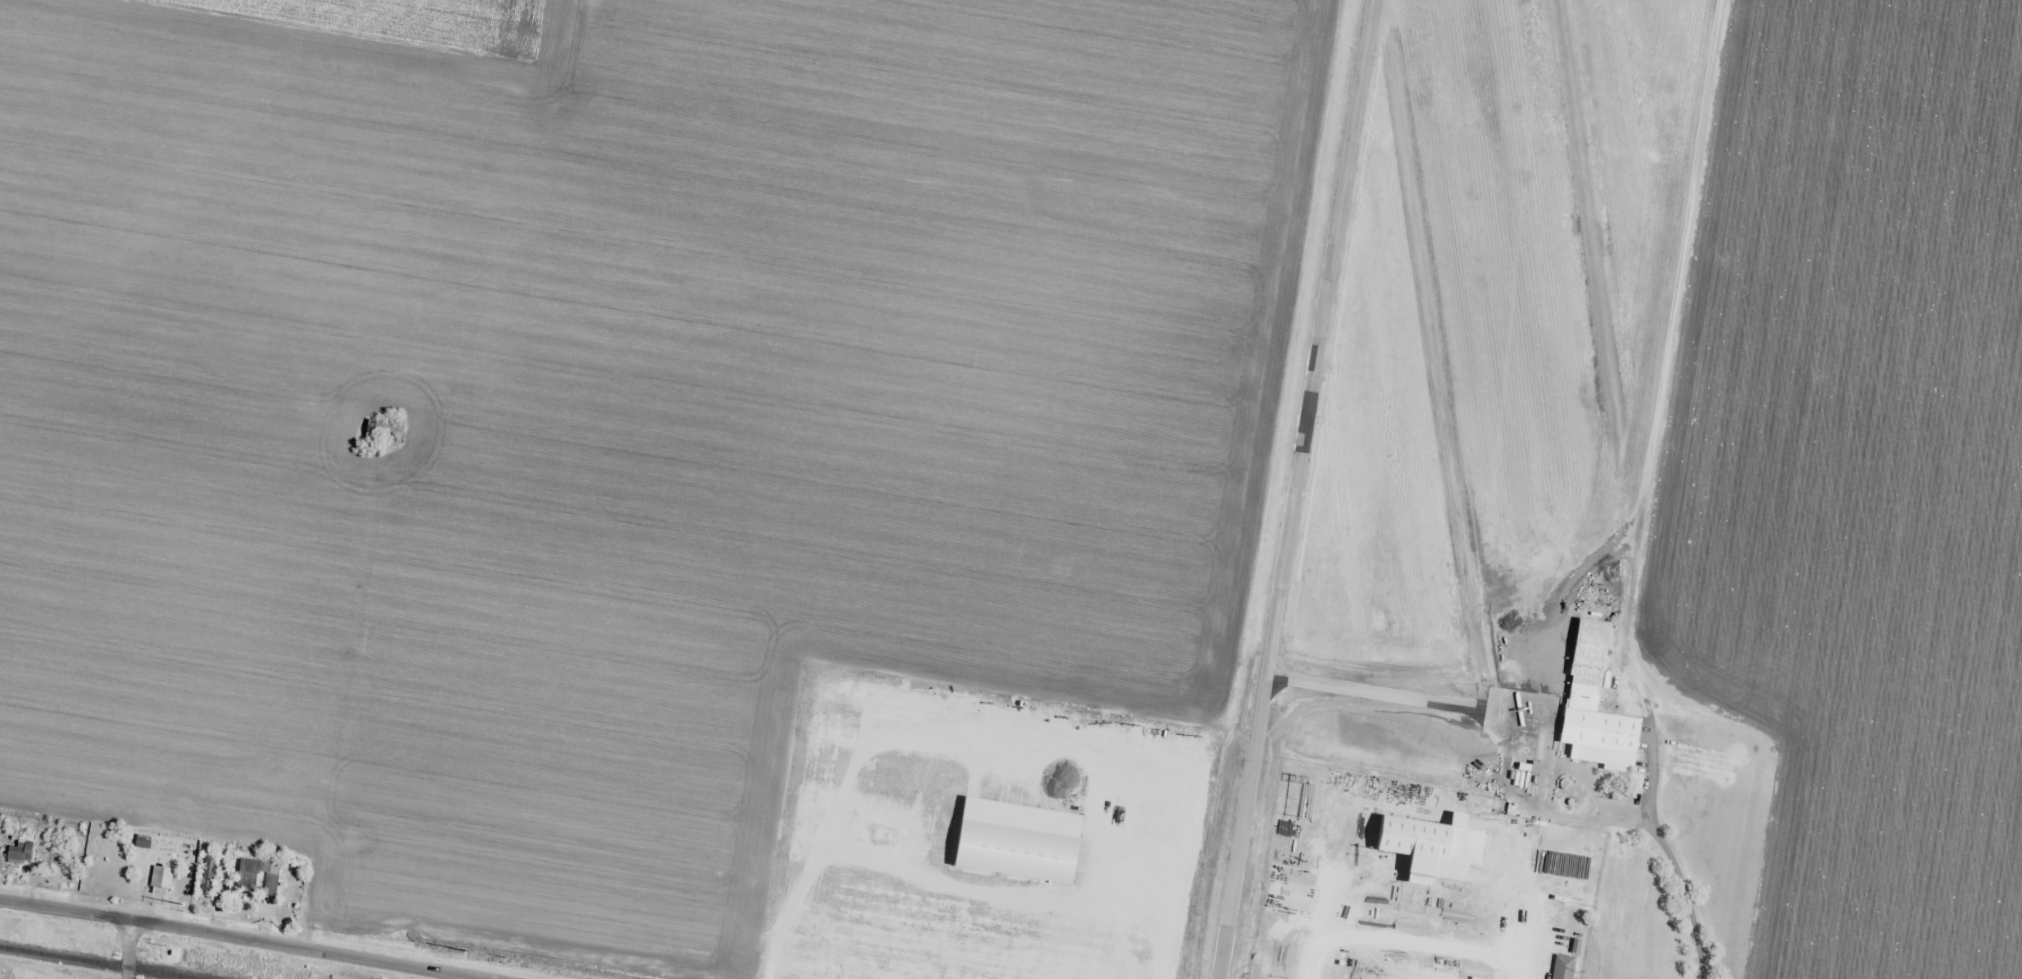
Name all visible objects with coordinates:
building: (383, 432)
building: (1594, 705)
building: (141, 841)
building: (1432, 847)
building: (19, 852)
building: (248, 874)
building: (208, 875)
building: (272, 876)
building: (161, 877)
power tower: (181, 909)
building: (1574, 917)
road: (244, 938)
road: (1427, 947)
road: (126, 949)
power tower: (502, 959)
railway: (99, 962)
building: (1562, 967)

